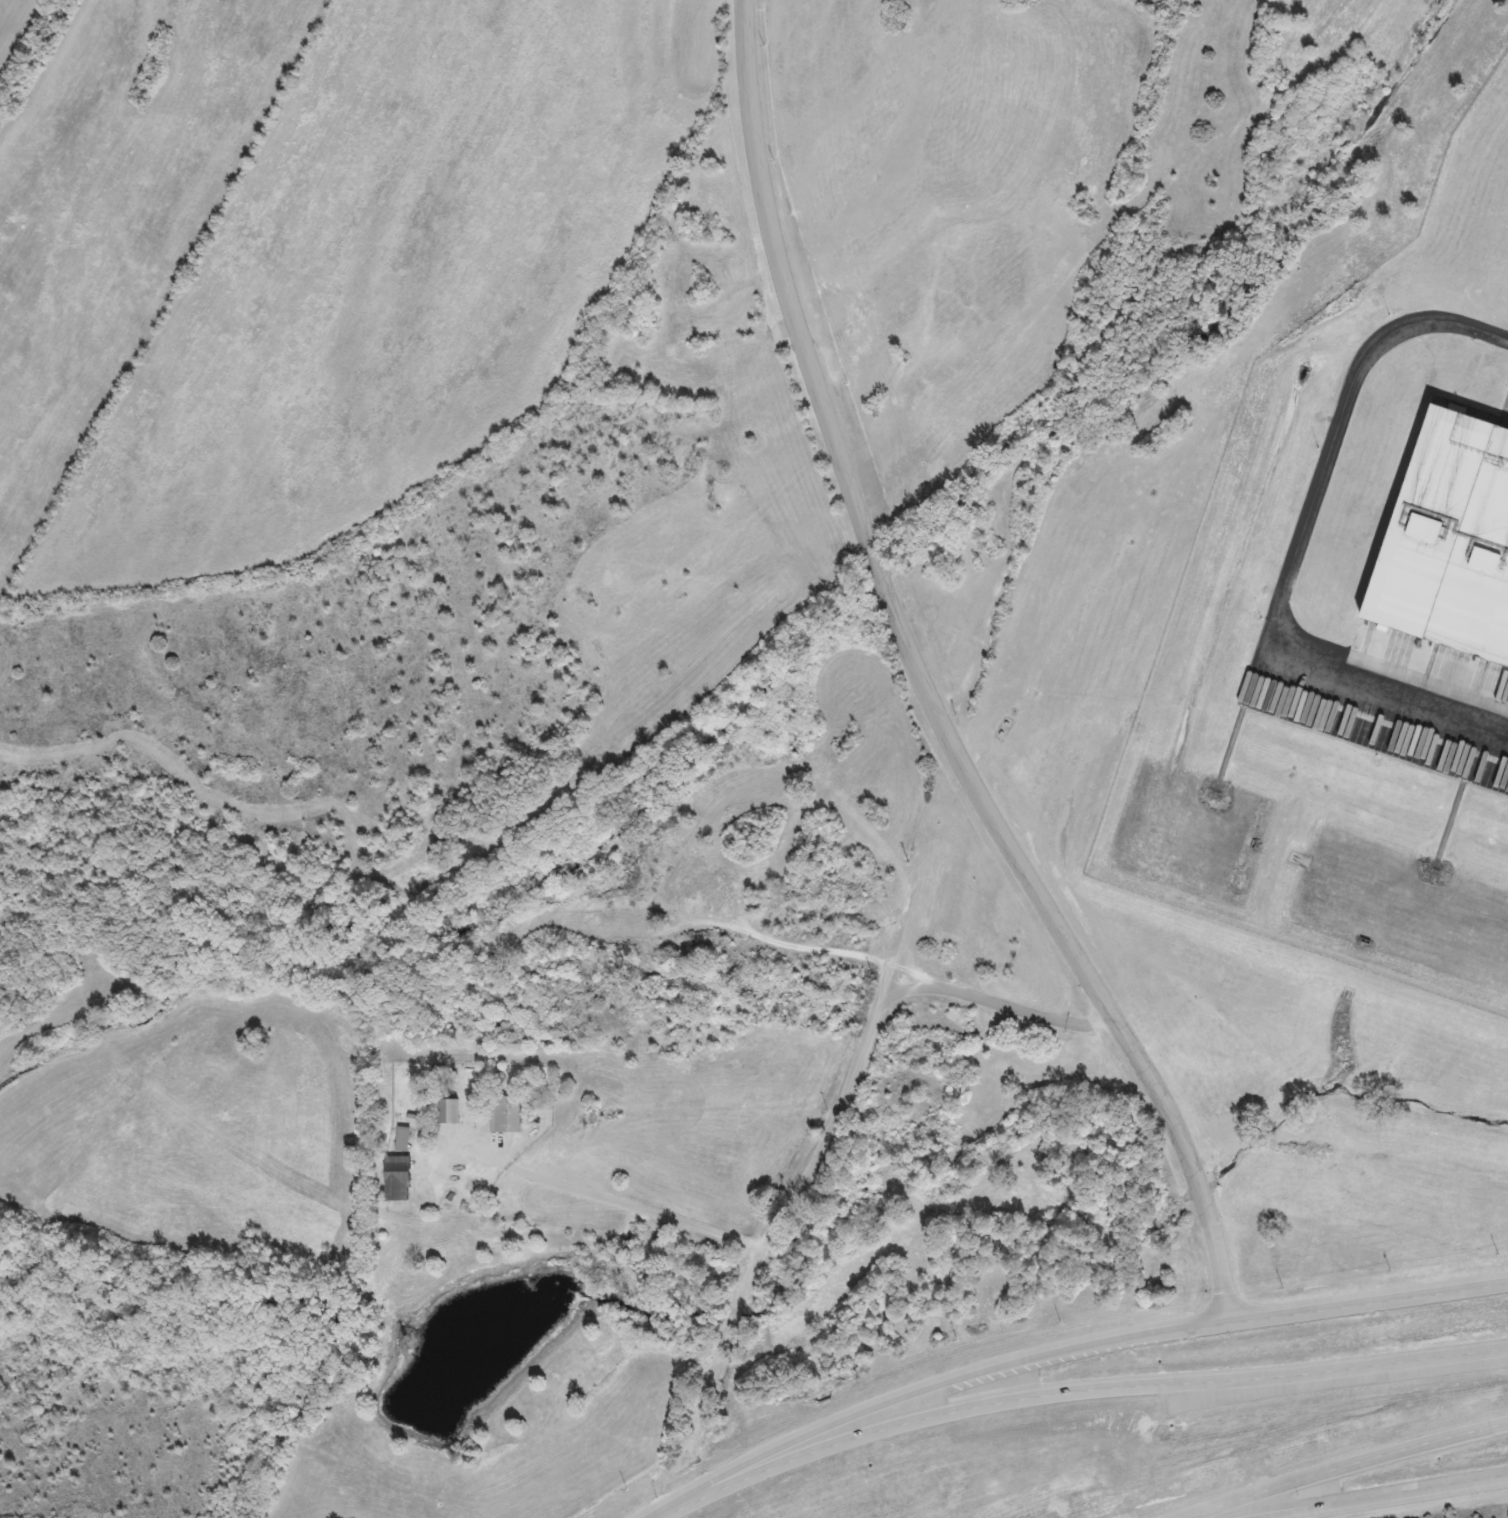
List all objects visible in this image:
building: (1457, 544)
road: (919, 683)
road: (877, 1021)
building: (452, 1112)
building: (509, 1115)
building: (417, 1119)
building: (405, 1139)
building: (401, 1180)
road: (631, 1209)
road: (1067, 1347)
road: (1438, 1359)
road: (1005, 1403)
road: (1344, 1470)
road: (1374, 1498)

